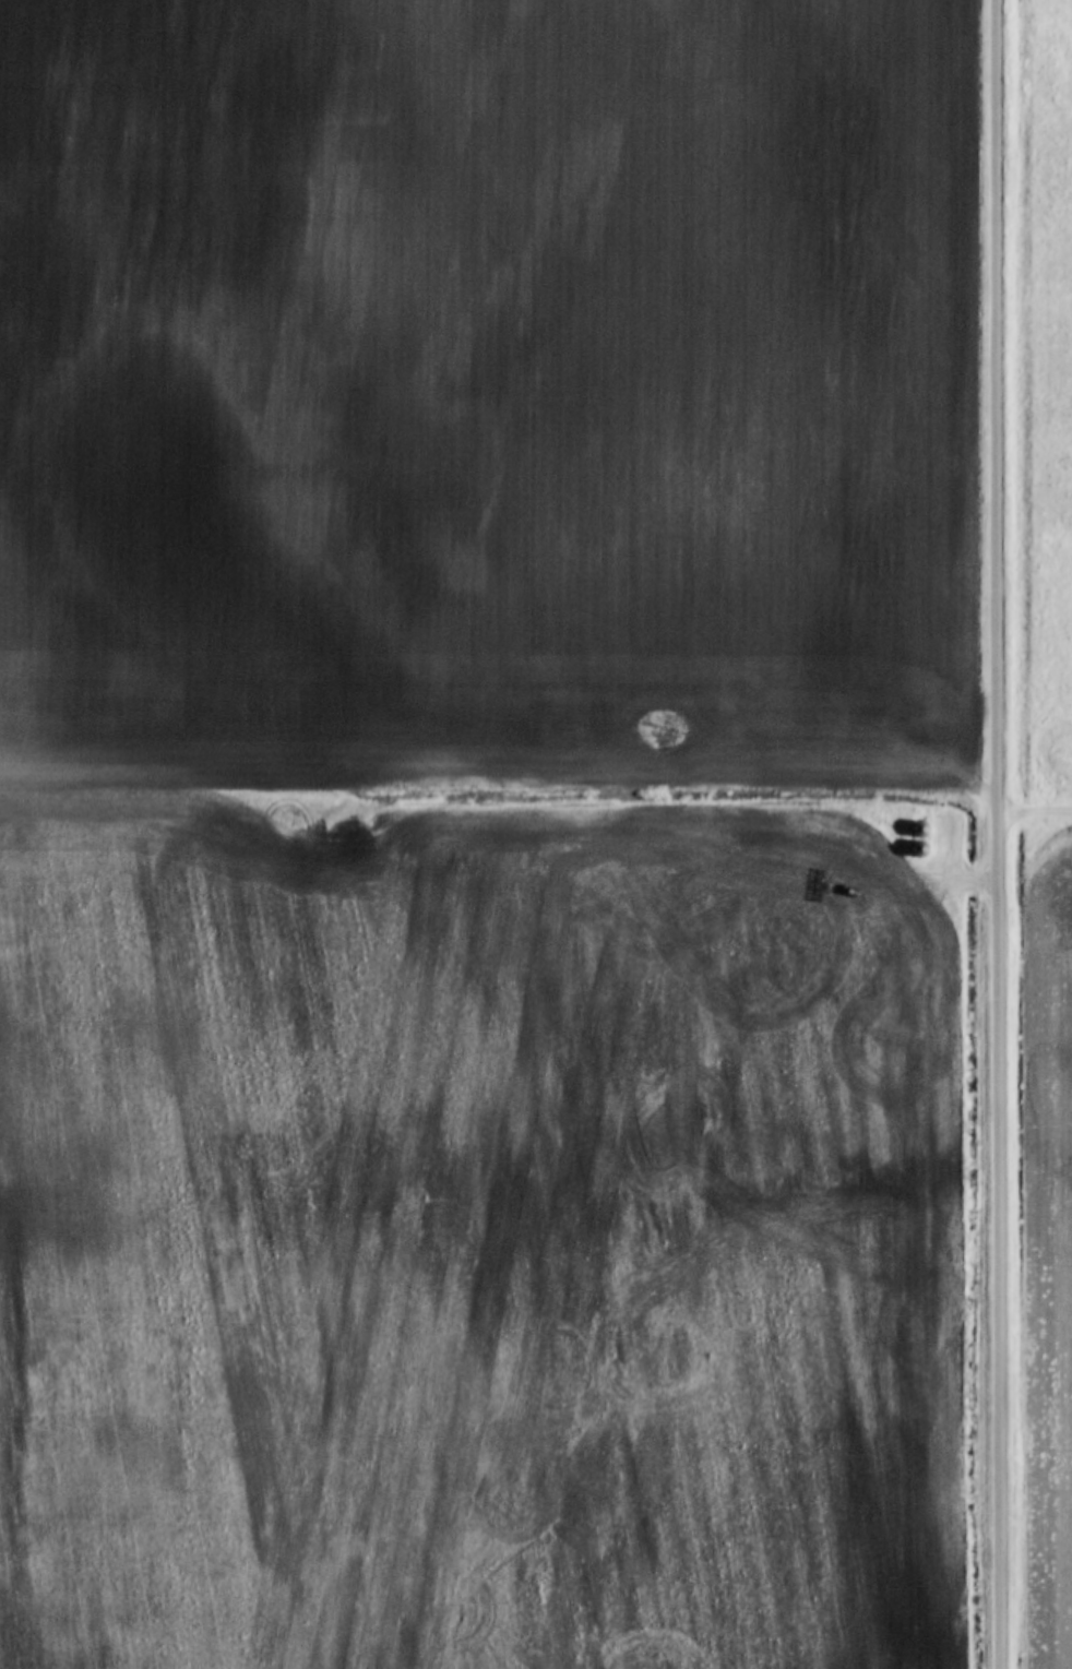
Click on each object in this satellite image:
building: (912, 830)
road: (996, 834)

